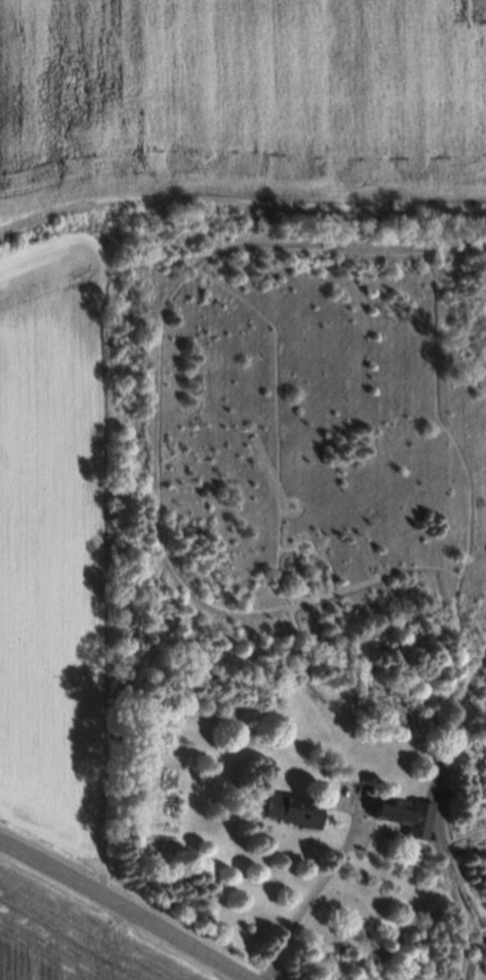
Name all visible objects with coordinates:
building: (289, 811)
building: (402, 815)
road: (309, 894)
road: (122, 909)

